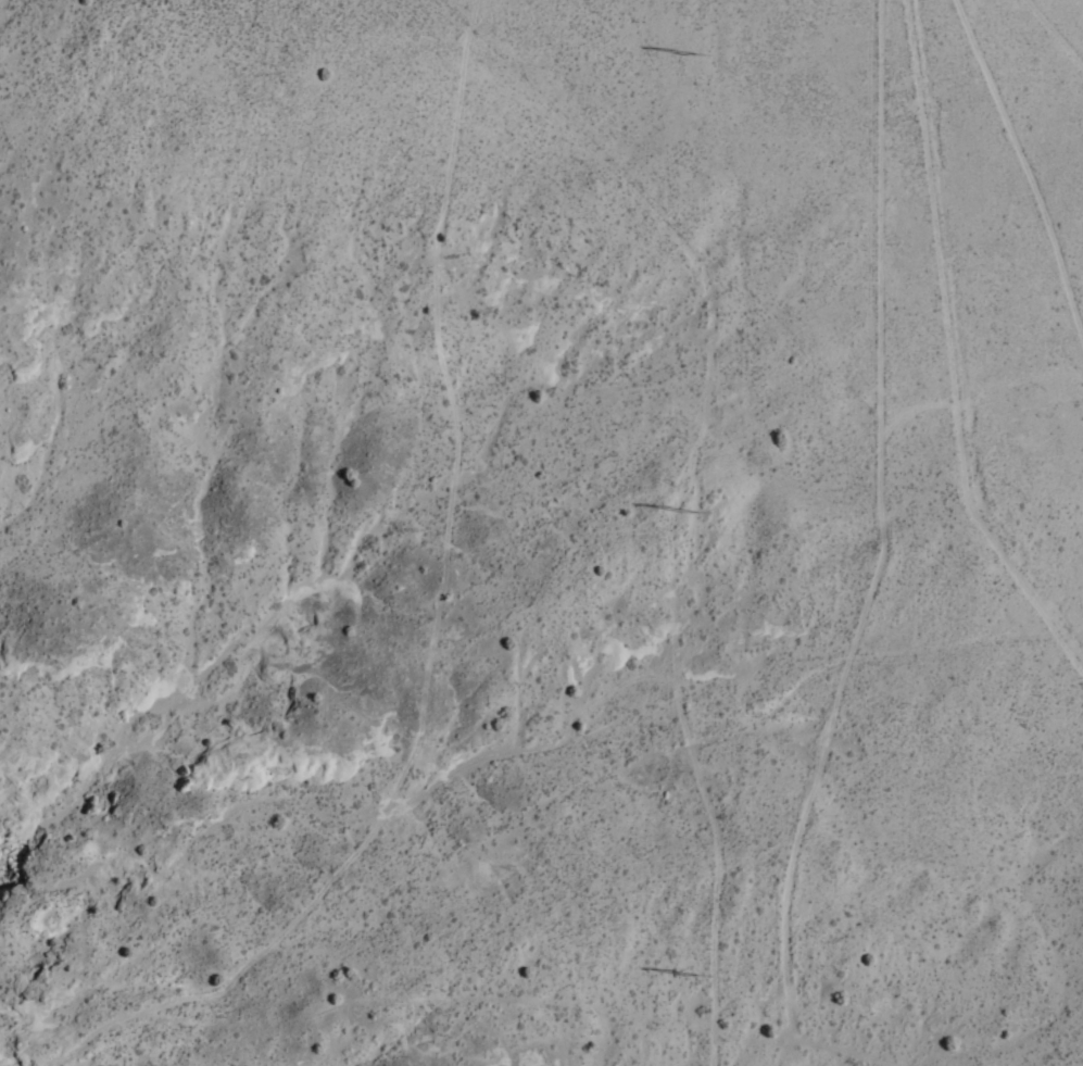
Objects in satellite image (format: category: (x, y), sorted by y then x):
power tower: (694, 51)
road: (1031, 62)
power tower: (695, 511)
power tower: (700, 973)

